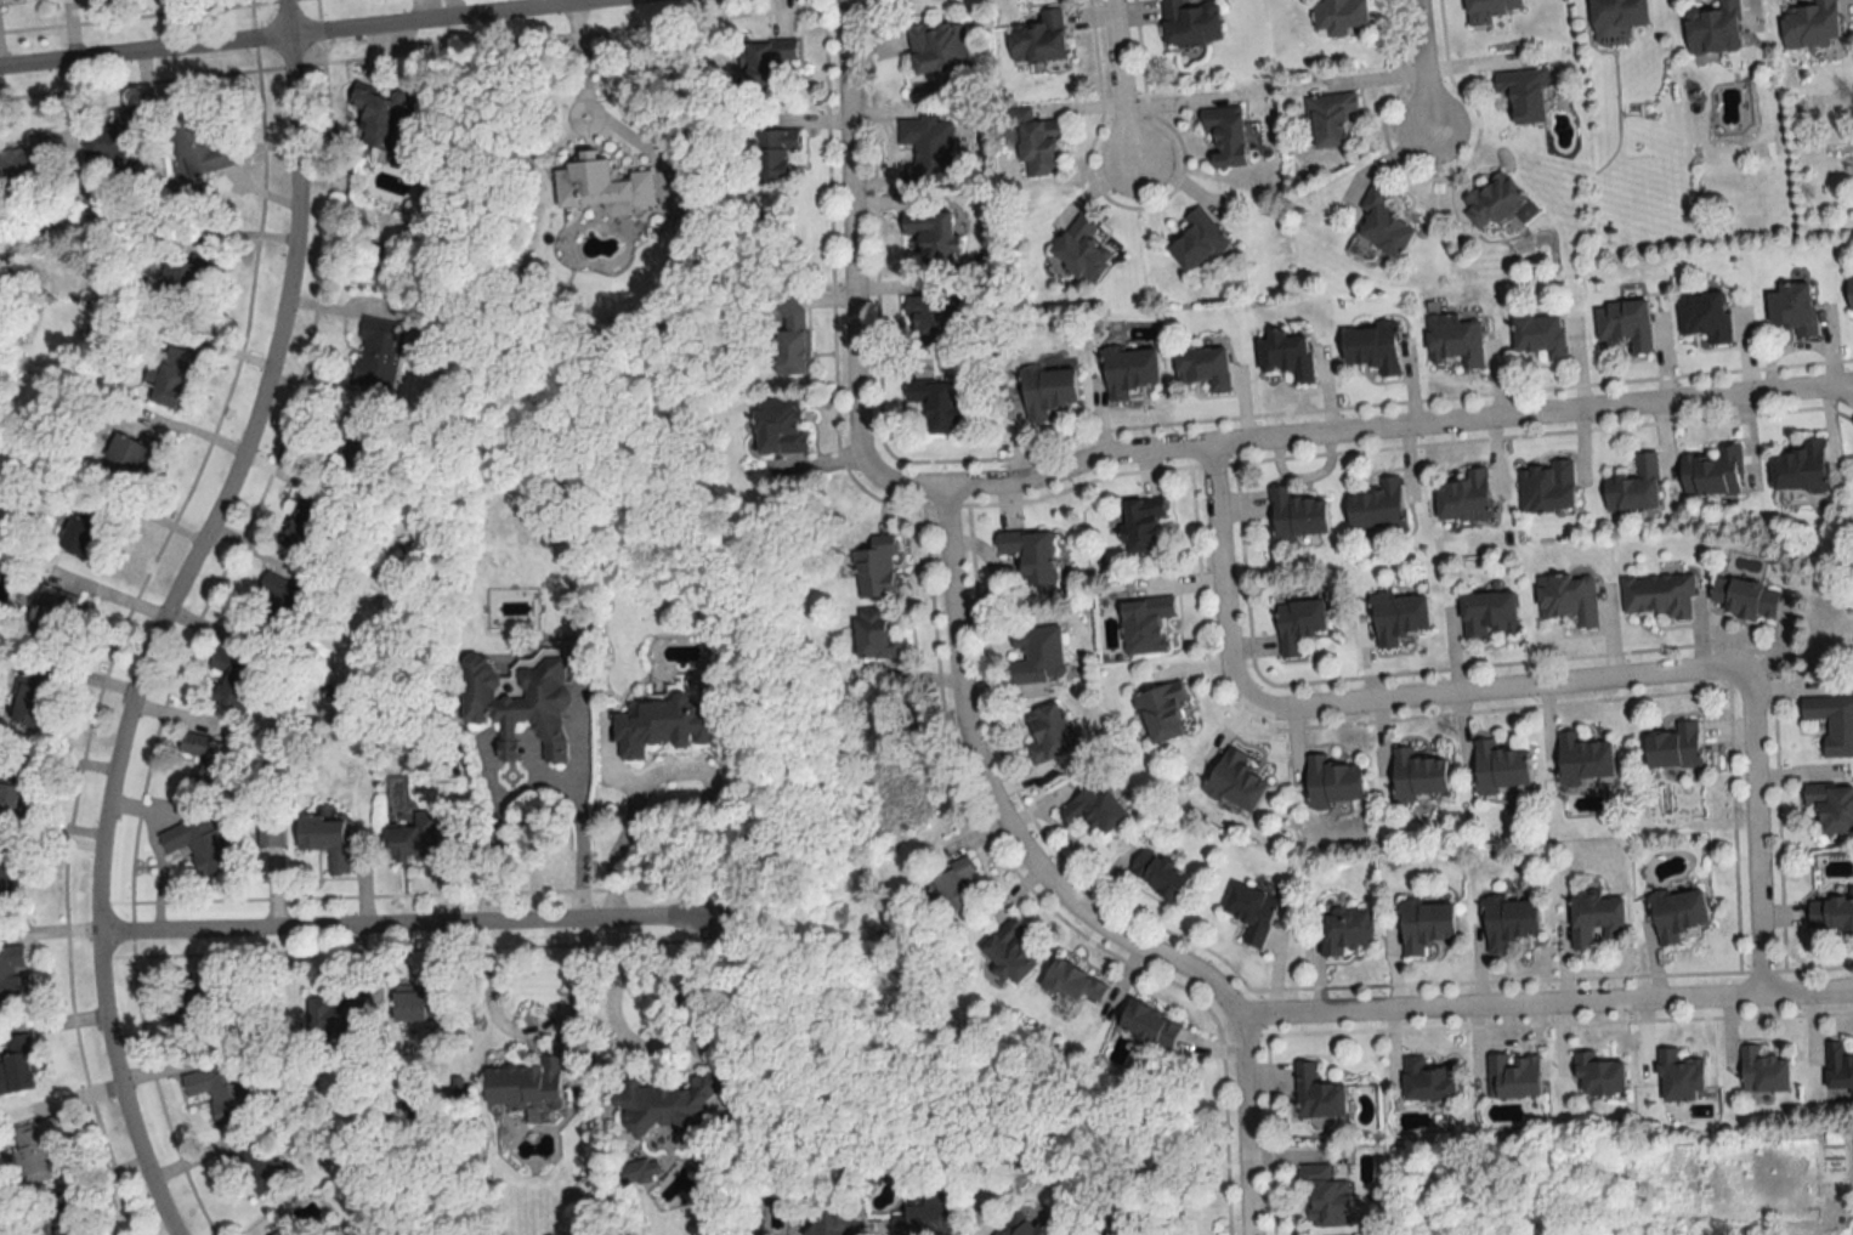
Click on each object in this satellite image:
road: (590, 2)
road: (452, 10)
building: (1489, 10)
building: (1339, 16)
building: (1616, 17)
building: (1190, 23)
building: (1810, 24)
building: (1715, 28)
road: (314, 35)
building: (1038, 39)
building: (937, 47)
building: (765, 60)
road: (1421, 73)
road: (1122, 91)
building: (1524, 94)
road: (596, 108)
building: (1328, 118)
building: (384, 121)
building: (1225, 134)
building: (110, 138)
building: (1036, 143)
building: (195, 145)
building: (926, 149)
building: (772, 153)
building: (28, 164)
building: (602, 183)
building: (1492, 199)
building: (1383, 223)
building: (930, 236)
building: (1196, 239)
building: (1081, 249)
road: (851, 274)
building: (180, 282)
building: (1851, 290)
building: (1792, 307)
building: (1702, 315)
building: (930, 321)
building: (1623, 324)
building: (1541, 334)
building: (790, 335)
building: (1455, 340)
building: (1373, 347)
building: (375, 352)
building: (1286, 355)
building: (1203, 367)
building: (1128, 370)
building: (172, 375)
building: (1047, 390)
building: (935, 404)
building: (780, 425)
road: (1396, 430)
building: (357, 447)
building: (126, 458)
building: (1802, 468)
building: (1713, 472)
building: (1546, 486)
building: (1634, 486)
building: (1464, 497)
building: (1377, 505)
building: (1297, 514)
building: (1143, 523)
building: (301, 527)
building: (84, 529)
building: (1030, 553)
building: (875, 568)
road: (1219, 577)
building: (1657, 595)
building: (1745, 596)
building: (1566, 599)
building: (279, 600)
building: (53, 605)
building: (1489, 612)
road: (164, 616)
building: (1399, 616)
building: (1298, 623)
building: (1145, 624)
building: (875, 635)
building: (1036, 653)
building: (232, 676)
road: (1496, 692)
building: (520, 697)
building: (32, 701)
building: (1161, 710)
building: (1832, 721)
building: (664, 724)
building: (1047, 733)
building: (1676, 747)
building: (1583, 759)
building: (214, 763)
building: (1500, 766)
building: (1418, 775)
building: (1235, 781)
building: (1332, 782)
building: (15, 792)
road: (540, 793)
building: (1832, 806)
building: (1093, 809)
building: (270, 834)
road: (1755, 835)
building: (412, 839)
building: (325, 840)
building: (199, 843)
road: (613, 851)
building: (1158, 874)
building: (8, 877)
building: (951, 886)
road: (1060, 896)
building: (1251, 912)
building: (1678, 913)
building: (1831, 914)
building: (1596, 918)
building: (1509, 922)
building: (1426, 925)
road: (392, 928)
building: (1347, 930)
building: (1008, 951)
building: (11, 973)
road: (718, 980)
building: (1071, 982)
road: (1545, 1003)
building: (195, 1005)
building: (1147, 1024)
road: (527, 1031)
road: (640, 1043)
building: (16, 1063)
building: (1840, 1065)
building: (1763, 1070)
building: (1514, 1075)
building: (1599, 1075)
building: (1679, 1076)
building: (1427, 1080)
building: (523, 1084)
building: (225, 1092)
building: (1316, 1094)
building: (665, 1105)
building: (35, 1150)
building: (262, 1167)
building: (1325, 1197)
building: (925, 1217)
building: (73, 1219)
building: (834, 1224)
building: (1019, 1226)
building: (283, 1231)

